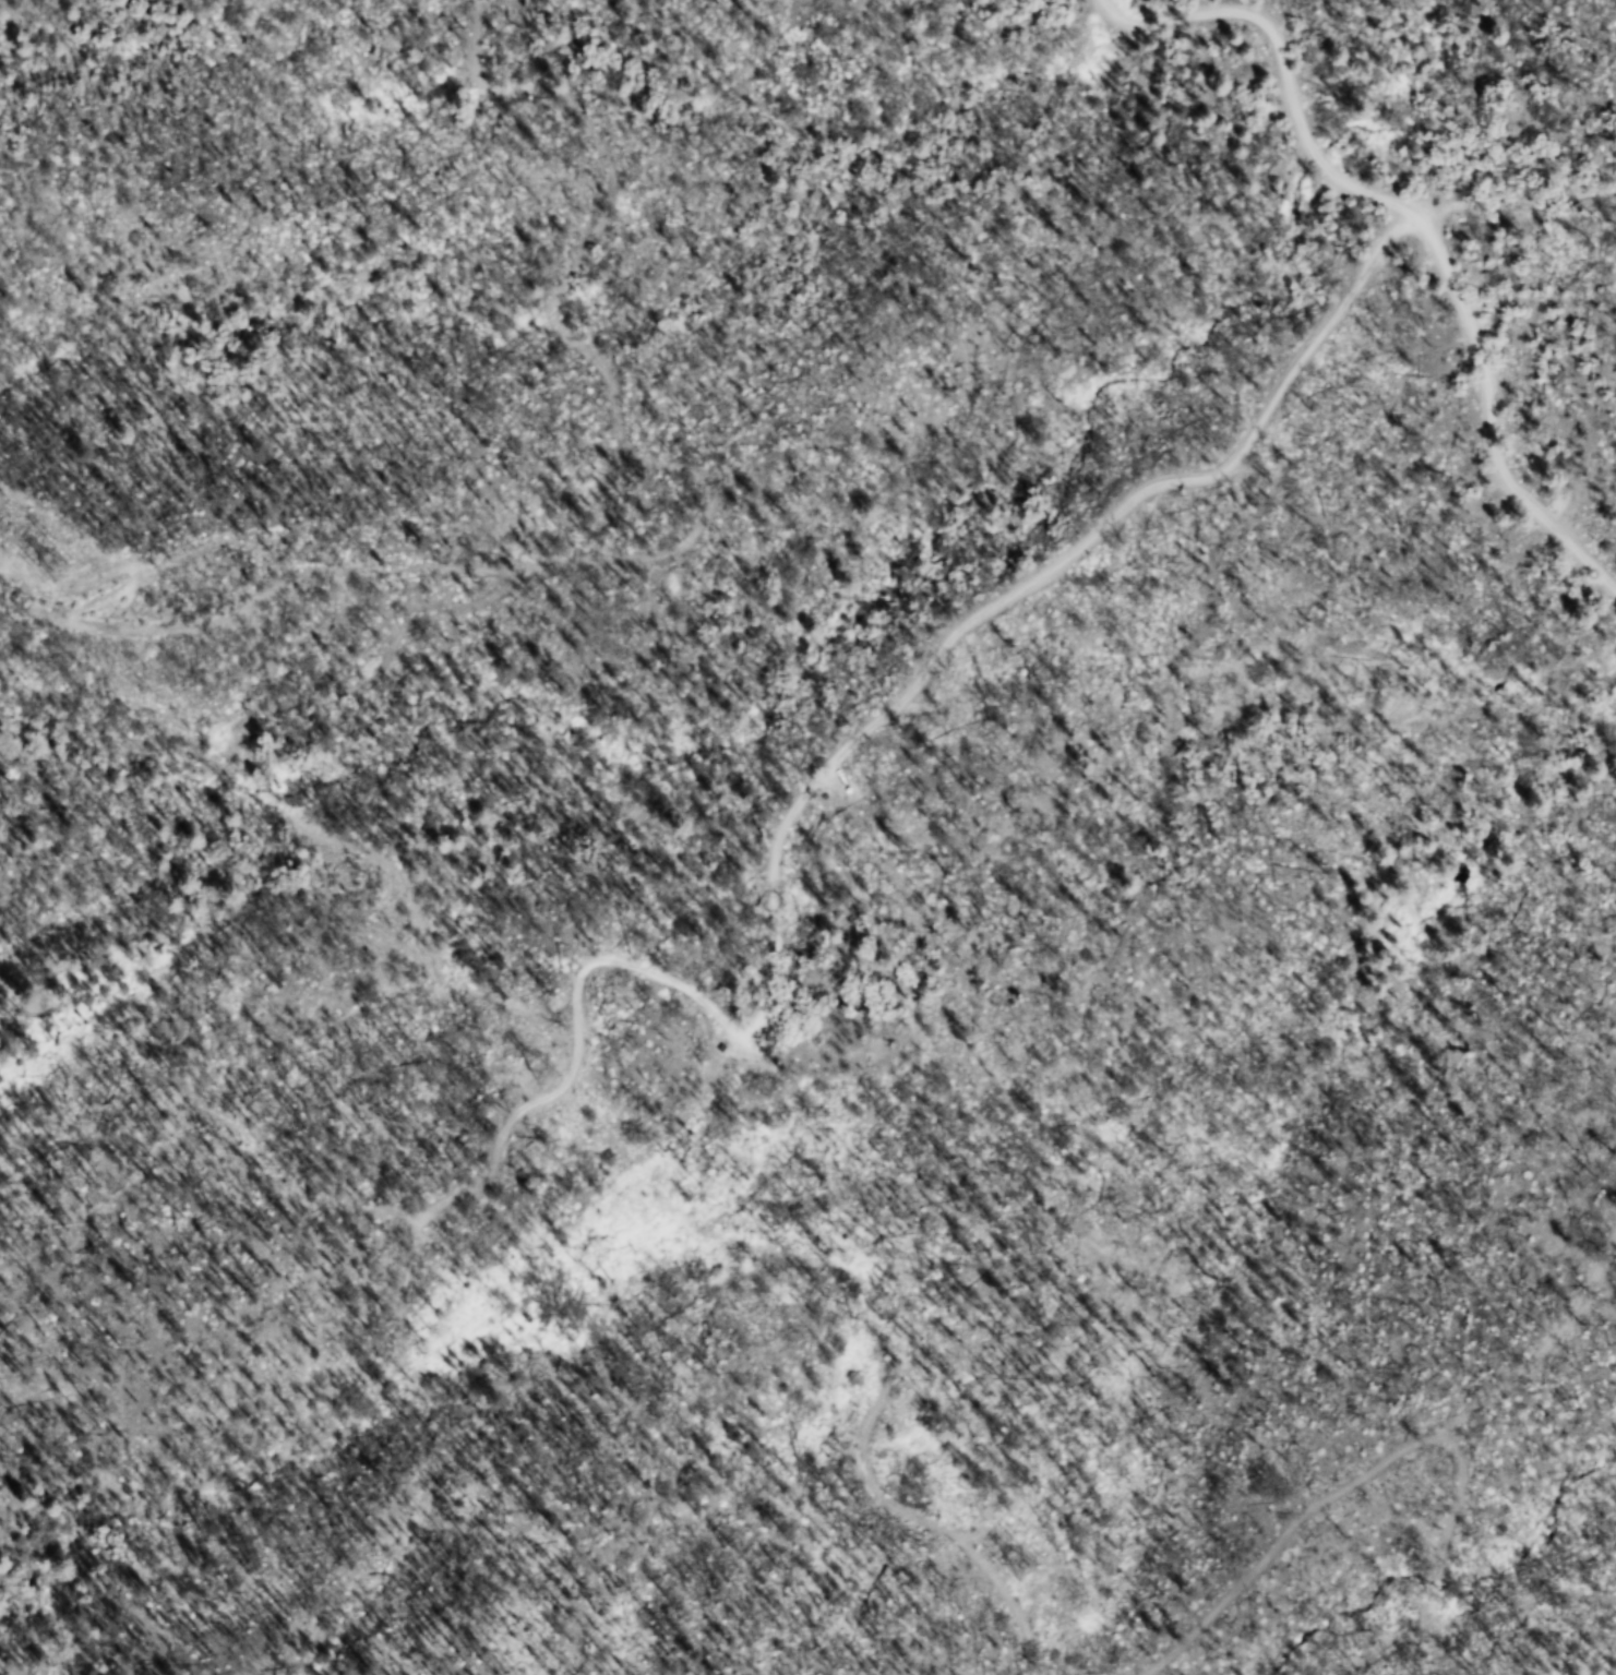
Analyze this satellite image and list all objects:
road: (1405, 216)
power tower: (70, 571)
road: (1019, 586)
power tower: (563, 1069)
power tower: (1033, 1566)

